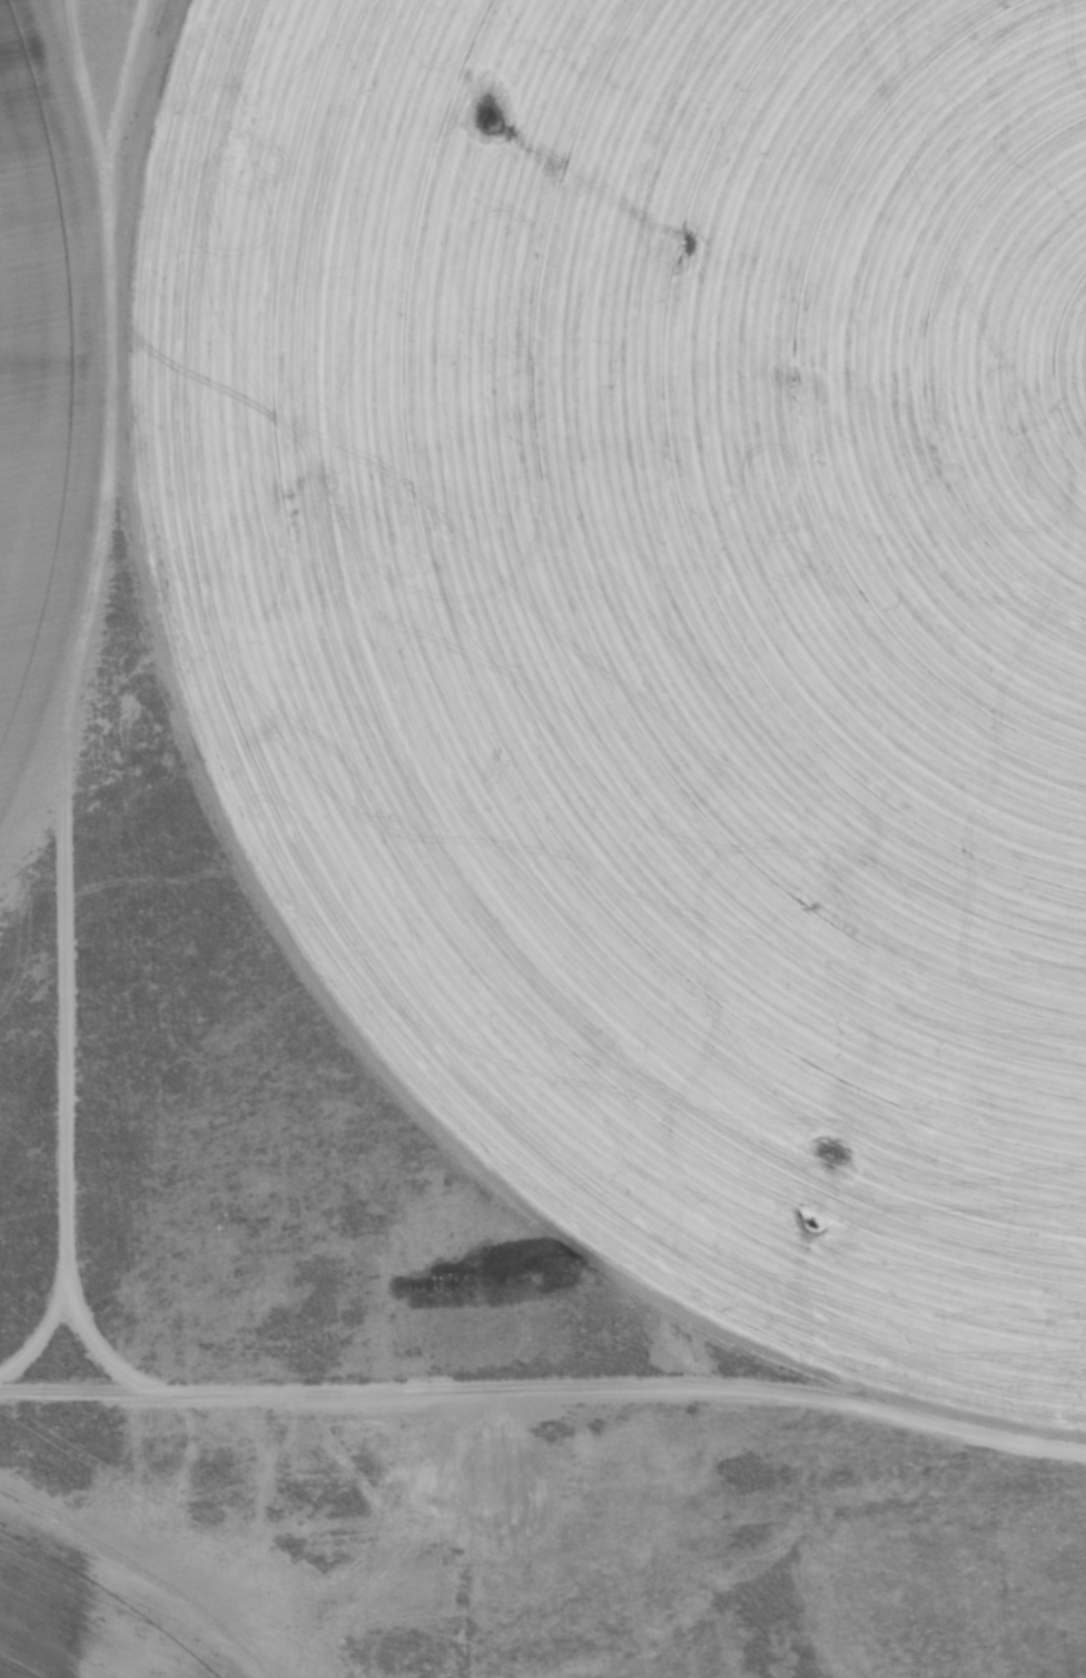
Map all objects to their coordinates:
crop: (22, 369)
crop: (675, 603)

